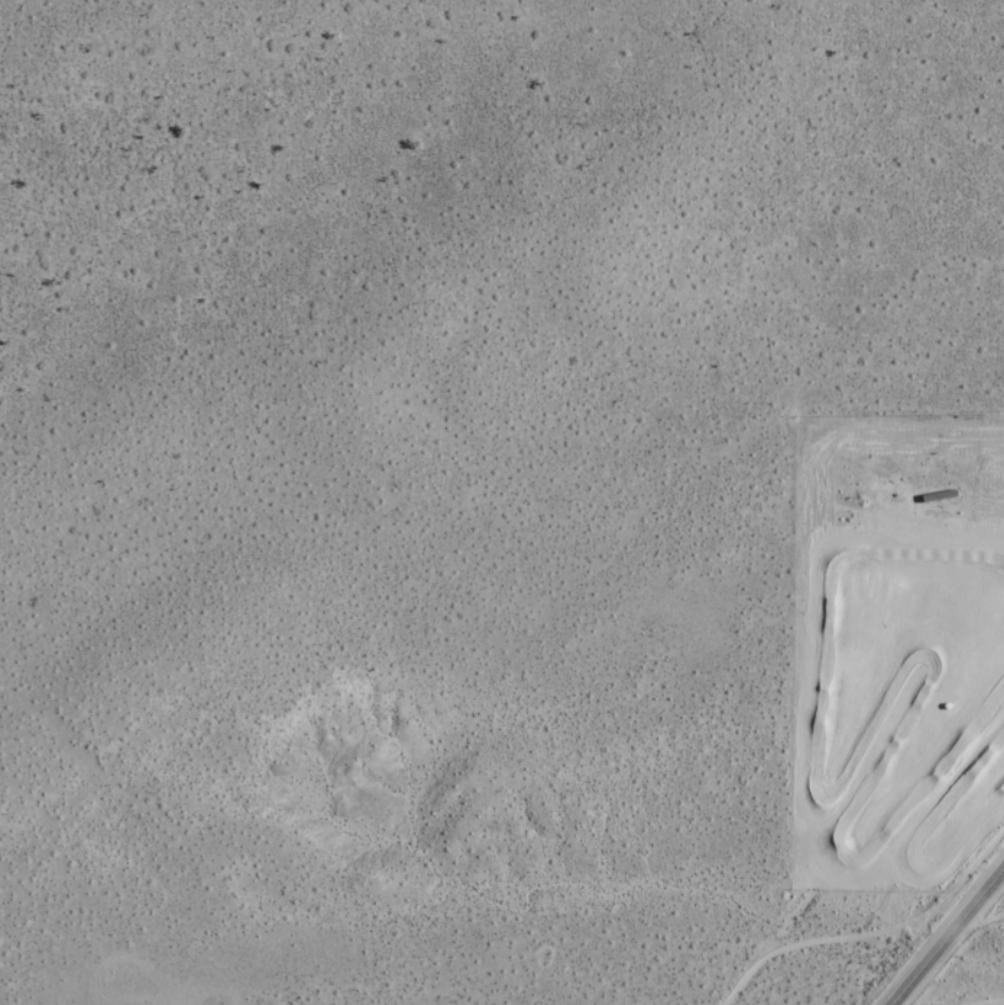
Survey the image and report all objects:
road: (948, 937)

